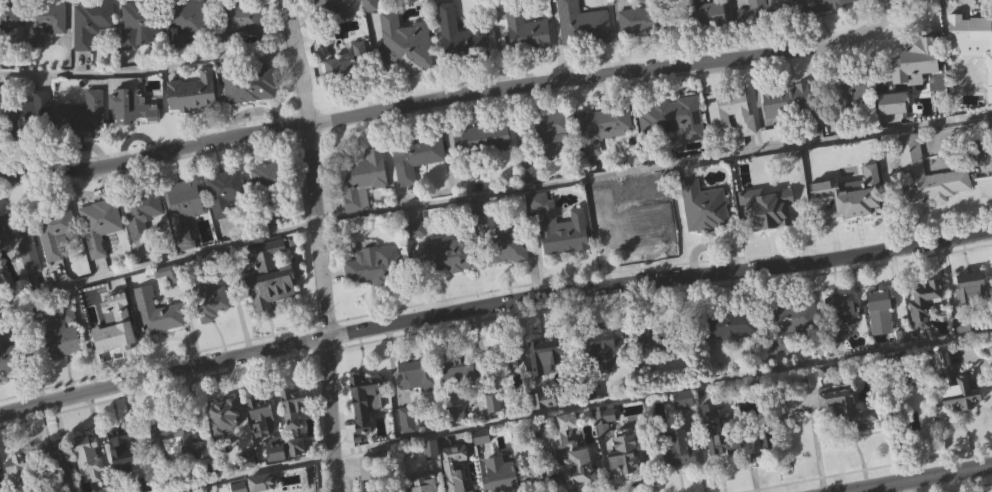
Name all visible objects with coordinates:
building: (777, 3)
building: (817, 5)
building: (328, 7)
building: (753, 12)
building: (703, 14)
building: (8, 15)
building: (238, 19)
building: (43, 20)
building: (89, 21)
building: (184, 21)
building: (636, 22)
building: (137, 23)
building: (330, 25)
building: (581, 25)
building: (826, 25)
building: (972, 27)
building: (371, 29)
building: (525, 30)
building: (460, 37)
building: (705, 39)
building: (12, 44)
building: (242, 48)
building: (582, 48)
building: (642, 48)
building: (47, 49)
building: (189, 49)
building: (409, 49)
building: (92, 50)
building: (138, 53)
building: (528, 59)
building: (462, 62)
building: (991, 62)
building: (917, 65)
building: (336, 68)
road: (147, 73)
building: (246, 84)
building: (918, 84)
building: (845, 87)
building: (350, 90)
building: (987, 90)
building: (191, 92)
building: (2, 94)
road: (455, 98)
building: (787, 100)
building: (132, 103)
building: (730, 111)
building: (251, 112)
building: (80, 116)
building: (679, 117)
building: (851, 118)
building: (29, 119)
building: (196, 120)
building: (2, 126)
building: (601, 126)
building: (788, 128)
building: (893, 130)
building: (546, 131)
building: (136, 133)
building: (732, 139)
building: (480, 142)
building: (30, 143)
building: (83, 143)
building: (675, 144)
building: (604, 155)
building: (414, 156)
building: (548, 160)
building: (911, 163)
building: (481, 165)
road: (654, 166)
building: (530, 172)
building: (361, 179)
building: (912, 179)
building: (983, 180)
building: (267, 181)
building: (418, 184)
building: (223, 191)
building: (855, 195)
building: (532, 199)
building: (766, 201)
building: (266, 203)
building: (365, 206)
building: (703, 206)
building: (183, 207)
building: (140, 211)
building: (227, 218)
building: (633, 222)
building: (98, 224)
building: (53, 228)
building: (563, 231)
building: (705, 234)
building: (769, 234)
building: (187, 237)
building: (498, 237)
building: (19, 239)
building: (144, 241)
road: (320, 245)
building: (635, 249)
building: (102, 252)
building: (561, 253)
building: (443, 254)
building: (57, 259)
road: (157, 264)
building: (373, 265)
building: (501, 266)
building: (22, 268)
building: (266, 274)
building: (446, 281)
building: (971, 285)
road: (7, 288)
building: (376, 292)
building: (207, 297)
building: (880, 299)
building: (172, 300)
building: (923, 301)
building: (270, 302)
road: (492, 305)
building: (156, 312)
building: (972, 312)
building: (838, 314)
building: (789, 322)
building: (108, 324)
building: (213, 325)
building: (727, 325)
building: (925, 330)
building: (60, 332)
building: (841, 332)
building: (881, 338)
building: (159, 339)
building: (653, 340)
building: (604, 347)
building: (111, 348)
building: (731, 352)
building: (788, 352)
building: (964, 352)
building: (500, 356)
building: (10, 359)
building: (64, 360)
building: (542, 365)
building: (653, 366)
building: (901, 367)
building: (457, 370)
building: (416, 375)
building: (604, 377)
building: (547, 381)
building: (8, 383)
building: (509, 385)
building: (954, 385)
building: (361, 395)
building: (460, 395)
building: (419, 401)
building: (293, 406)
building: (845, 407)
road: (587, 408)
building: (956, 412)
building: (221, 415)
building: (259, 415)
building: (367, 426)
building: (545, 426)
building: (685, 426)
building: (719, 430)
building: (296, 433)
building: (846, 433)
building: (173, 439)
building: (226, 442)
building: (615, 443)
building: (409, 446)
building: (675, 448)
building: (274, 449)
building: (571, 449)
building: (122, 451)
building: (87, 457)
building: (719, 458)
building: (561, 461)
building: (52, 466)
building: (453, 466)
building: (768, 468)
building: (180, 469)
building: (367, 470)
building: (17, 471)
building: (298, 473)
building: (500, 473)
building: (432, 474)
building: (277, 475)
building: (678, 475)
building: (539, 476)
building: (90, 478)
building: (625, 478)
road: (921, 479)
building: (422, 485)
building: (0, 491)
building: (469, 491)

